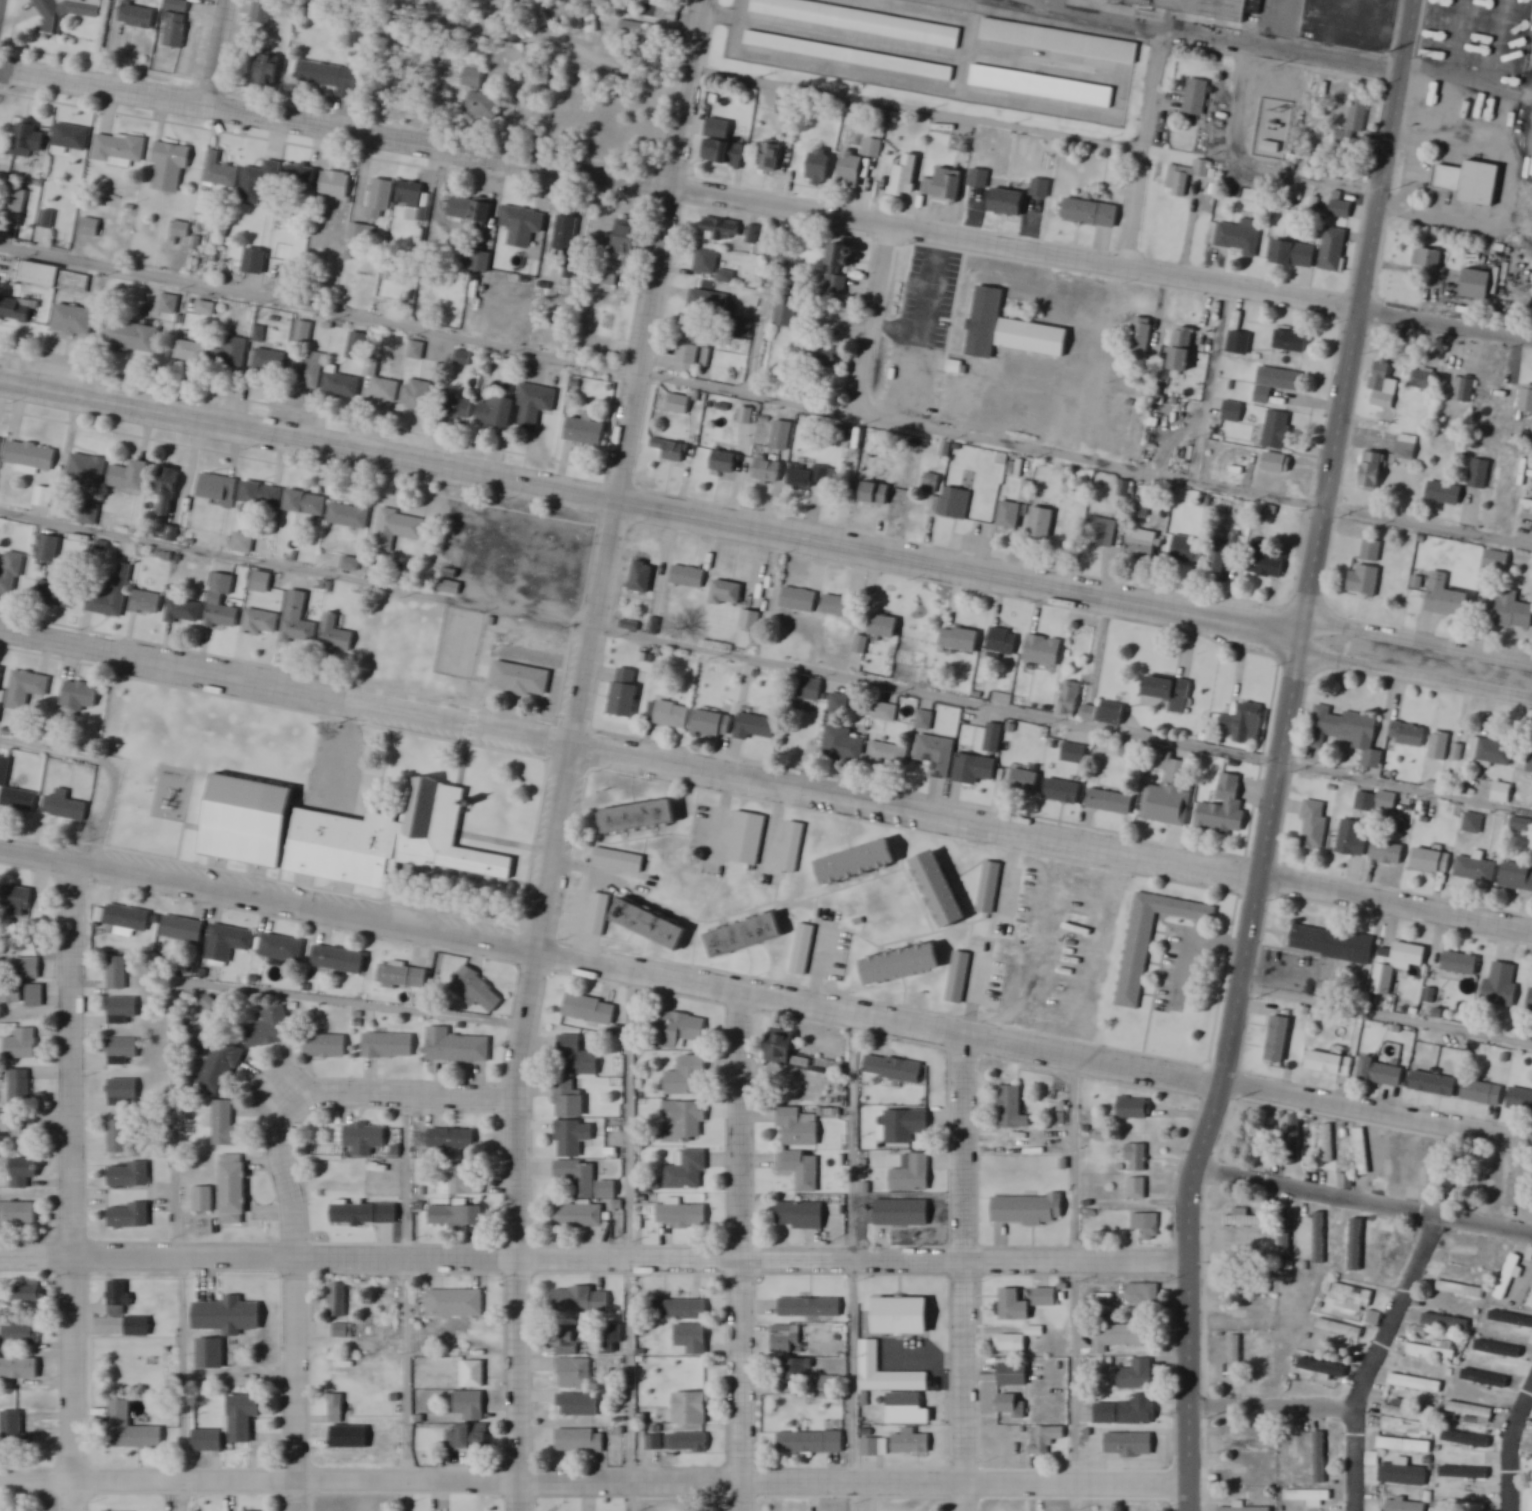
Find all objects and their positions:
building: (1206, 6)
building: (660, 9)
building: (68, 12)
building: (262, 12)
building: (593, 12)
road: (1096, 16)
building: (137, 17)
building: (858, 21)
building: (176, 24)
building: (635, 28)
building: (1059, 41)
road: (106, 43)
road: (1284, 51)
road: (217, 53)
building: (847, 55)
building: (267, 71)
road: (1468, 73)
building: (329, 77)
building: (1040, 86)
building: (480, 96)
building: (1196, 97)
building: (1358, 115)
building: (69, 139)
building: (28, 141)
road: (1147, 149)
building: (118, 151)
building: (724, 153)
building: (771, 158)
building: (858, 164)
building: (170, 168)
building: (820, 168)
building: (220, 172)
building: (302, 177)
building: (906, 177)
building: (1187, 178)
building: (980, 179)
building: (259, 183)
building: (950, 184)
building: (1480, 184)
building: (335, 185)
building: (1041, 189)
building: (410, 195)
building: (381, 200)
building: (1008, 202)
road: (766, 203)
building: (13, 209)
building: (1090, 209)
building: (1342, 210)
building: (482, 212)
building: (47, 220)
building: (522, 226)
building: (93, 229)
building: (719, 229)
building: (180, 230)
building: (362, 234)
building: (569, 236)
building: (628, 238)
building: (1240, 238)
building: (1334, 246)
road: (661, 250)
building: (349, 256)
building: (1294, 256)
building: (1428, 259)
building: (255, 262)
building: (706, 262)
building: (840, 267)
building: (56, 280)
building: (1476, 283)
road: (765, 299)
building: (704, 302)
building: (169, 305)
building: (205, 309)
building: (15, 311)
building: (786, 313)
road: (1359, 317)
road: (874, 319)
building: (273, 320)
building: (74, 321)
building: (986, 323)
building: (258, 334)
building: (1033, 336)
building: (1140, 336)
building: (130, 337)
building: (1184, 339)
building: (1293, 343)
building: (1240, 344)
building: (357, 346)
building: (416, 350)
building: (192, 353)
building: (231, 353)
building: (694, 356)
building: (462, 357)
building: (825, 357)
building: (269, 362)
building: (306, 370)
building: (487, 372)
building: (1426, 375)
road: (663, 376)
road: (1213, 381)
building: (1276, 384)
building: (1383, 385)
building: (342, 386)
building: (1463, 389)
building: (385, 392)
building: (417, 396)
building: (1526, 400)
building: (534, 406)
building: (458, 408)
building: (497, 412)
building: (1233, 413)
building: (1278, 430)
building: (586, 432)
building: (781, 436)
building: (0, 443)
building: (1407, 447)
building: (671, 450)
building: (31, 457)
building: (725, 462)
building: (1276, 464)
building: (86, 471)
building: (769, 471)
building: (1373, 472)
building: (1481, 474)
building: (131, 477)
building: (808, 477)
building: (217, 488)
building: (167, 492)
building: (1445, 493)
building: (261, 495)
building: (43, 497)
building: (306, 504)
building: (956, 504)
building: (1142, 508)
building: (1016, 511)
building: (350, 515)
road: (1429, 524)
building: (1041, 525)
road: (765, 529)
building: (397, 530)
building: (1103, 533)
building: (170, 534)
building: (243, 542)
building: (1144, 543)
building: (48, 550)
building: (1185, 550)
building: (1223, 555)
building: (1497, 561)
building: (1265, 562)
building: (350, 563)
building: (367, 568)
building: (11, 575)
building: (642, 578)
building: (688, 578)
building: (261, 583)
building: (727, 593)
building: (55, 594)
building: (111, 595)
building: (1447, 598)
building: (799, 601)
building: (147, 604)
building: (222, 605)
building: (838, 607)
building: (1509, 611)
building: (184, 613)
building: (750, 621)
building: (298, 622)
building: (261, 624)
building: (629, 625)
building: (654, 627)
building: (885, 627)
building: (336, 635)
road: (640, 635)
building: (960, 641)
building: (1004, 643)
building: (863, 646)
building: (1044, 652)
building: (1, 676)
building: (521, 680)
building: (26, 690)
building: (812, 690)
building: (625, 693)
building: (1170, 693)
building: (79, 698)
building: (1070, 699)
building: (838, 704)
building: (0, 707)
building: (885, 713)
building: (1089, 713)
building: (669, 714)
building: (1112, 714)
building: (1243, 724)
building: (713, 725)
building: (756, 728)
building: (1347, 734)
building: (1408, 736)
building: (993, 739)
building: (842, 746)
building: (1440, 747)
building: (1128, 753)
building: (1492, 753)
building: (1074, 754)
building: (936, 755)
building: (888, 756)
road: (105, 764)
building: (1170, 768)
building: (1531, 769)
building: (976, 770)
building: (1026, 783)
road: (764, 784)
road: (1406, 786)
building: (1061, 791)
building: (14, 792)
building: (1502, 793)
building: (1108, 801)
building: (1366, 802)
building: (1387, 802)
building: (65, 808)
building: (1224, 810)
building: (641, 818)
building: (1522, 825)
building: (1315, 827)
building: (342, 835)
building: (748, 839)
building: (1352, 839)
building: (793, 849)
building: (1388, 854)
building: (619, 860)
building: (1430, 861)
building: (860, 864)
building: (1476, 871)
building: (1517, 878)
building: (990, 887)
building: (942, 892)
building: (17, 899)
building: (599, 914)
building: (127, 920)
building: (652, 924)
building: (182, 929)
building: (746, 935)
building: (1151, 940)
building: (227, 942)
building: (1333, 944)
building: (281, 948)
building: (804, 949)
building: (1403, 956)
building: (339, 960)
building: (1459, 962)
building: (903, 963)
building: (28, 969)
building: (117, 973)
building: (959, 976)
building: (403, 977)
building: (1502, 985)
road: (221, 987)
building: (476, 990)
building: (35, 995)
road: (765, 995)
road: (528, 1002)
building: (1530, 1002)
building: (1170, 1005)
building: (122, 1009)
building: (590, 1010)
road: (1388, 1013)
building: (269, 1029)
building: (678, 1030)
building: (1280, 1039)
building: (22, 1044)
building: (388, 1045)
building: (326, 1046)
building: (782, 1046)
building: (456, 1047)
building: (123, 1049)
building: (576, 1058)
building: (1329, 1062)
building: (220, 1067)
building: (893, 1068)
building: (1380, 1071)
road: (1227, 1073)
building: (687, 1077)
building: (1435, 1084)
building: (19, 1088)
road: (387, 1090)
building: (123, 1091)
building: (1482, 1092)
building: (570, 1099)
building: (1520, 1100)
building: (1135, 1108)
building: (1013, 1109)
building: (684, 1122)
building: (11, 1123)
building: (225, 1126)
building: (906, 1126)
building: (797, 1128)
building: (1295, 1136)
building: (117, 1137)
building: (364, 1139)
building: (452, 1139)
building: (573, 1139)
building: (1329, 1143)
building: (1362, 1152)
building: (1136, 1156)
building: (1064, 1165)
building: (801, 1169)
building: (1280, 1170)
building: (23, 1172)
building: (687, 1172)
building: (130, 1175)
building: (913, 1175)
building: (580, 1176)
building: (459, 1181)
building: (1461, 1184)
building: (1498, 1184)
road: (75, 1185)
building: (1529, 1186)
building: (1138, 1188)
building: (234, 1190)
road: (1364, 1199)
building: (203, 1200)
building: (1029, 1210)
building: (18, 1213)
building: (364, 1214)
building: (681, 1215)
building: (801, 1215)
building: (457, 1216)
building: (578, 1216)
building: (130, 1217)
building: (1245, 1220)
building: (1147, 1226)
building: (1285, 1238)
road: (630, 1239)
building: (1320, 1241)
road: (742, 1250)
building: (1353, 1250)
road: (594, 1256)
building: (1388, 1256)
road: (856, 1261)
road: (965, 1272)
building: (1509, 1278)
road: (1076, 1282)
building: (1250, 1289)
building: (1461, 1290)
building: (30, 1294)
building: (1045, 1297)
building: (118, 1298)
building: (338, 1300)
building: (581, 1300)
building: (1143, 1300)
building: (1357, 1301)
building: (455, 1303)
building: (1014, 1305)
building: (811, 1308)
building: (680, 1310)
building: (228, 1315)
building: (901, 1316)
road: (299, 1321)
building: (1258, 1322)
building: (1448, 1323)
building: (138, 1327)
building: (1340, 1329)
building: (342, 1332)
road: (408, 1332)
building: (20, 1334)
building: (1122, 1336)
building: (612, 1339)
building: (782, 1339)
building: (565, 1340)
building: (691, 1340)
building: (1011, 1343)
building: (1499, 1348)
building: (1435, 1350)
building: (210, 1353)
building: (1270, 1356)
building: (869, 1357)
road: (1375, 1357)
building: (1234, 1359)
building: (1320, 1367)
building: (19, 1369)
building: (797, 1369)
building: (575, 1373)
building: (1014, 1375)
building: (1136, 1375)
road: (185, 1383)
building: (1416, 1383)
building: (337, 1405)
building: (471, 1405)
building: (579, 1405)
building: (1011, 1405)
road: (1273, 1407)
building: (693, 1408)
building: (908, 1409)
building: (1407, 1411)
building: (1472, 1411)
building: (1128, 1412)
building: (243, 1416)
building: (131, 1429)
building: (15, 1431)
building: (469, 1437)
building: (1463, 1439)
building: (207, 1440)
building: (580, 1441)
building: (687, 1442)
building: (912, 1442)
building: (1046, 1442)
building: (654, 1443)
building: (811, 1443)
building: (343, 1445)
building: (1250, 1445)
building: (1405, 1445)
building: (875, 1447)
building: (1127, 1448)
road: (1512, 1450)
building: (1320, 1457)
building: (1373, 1459)
building: (1288, 1463)
building: (1403, 1475)
building: (1248, 1477)
building: (1463, 1477)
road: (595, 1481)
building: (1309, 1497)
building: (1530, 1499)
building: (1407, 1505)
building: (1464, 1506)
building: (1243, 1507)
building: (1002, 1510)

